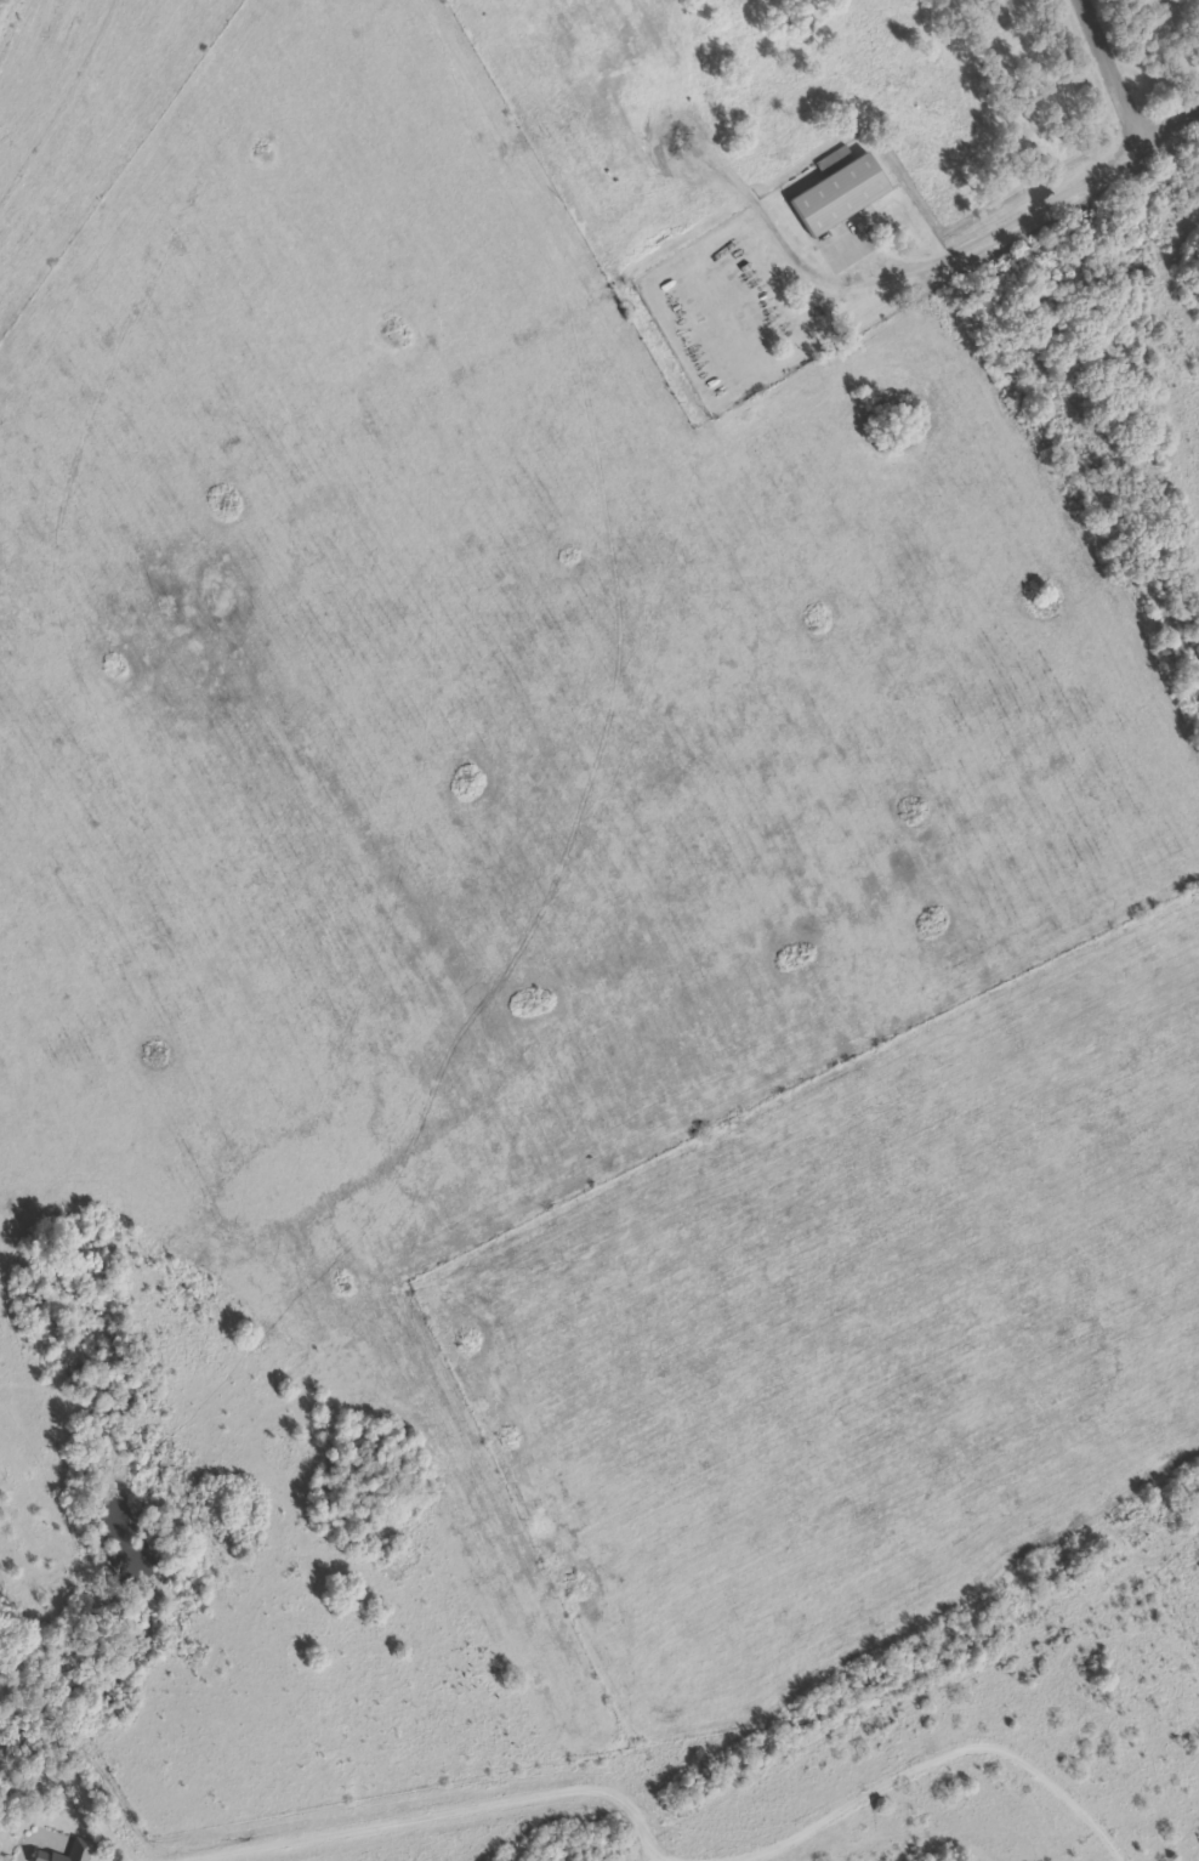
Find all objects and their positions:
road: (1108, 73)
road: (58, 101)
road: (1167, 126)
building: (840, 194)
road: (1021, 216)
road: (56, 1744)
building: (72, 1851)

